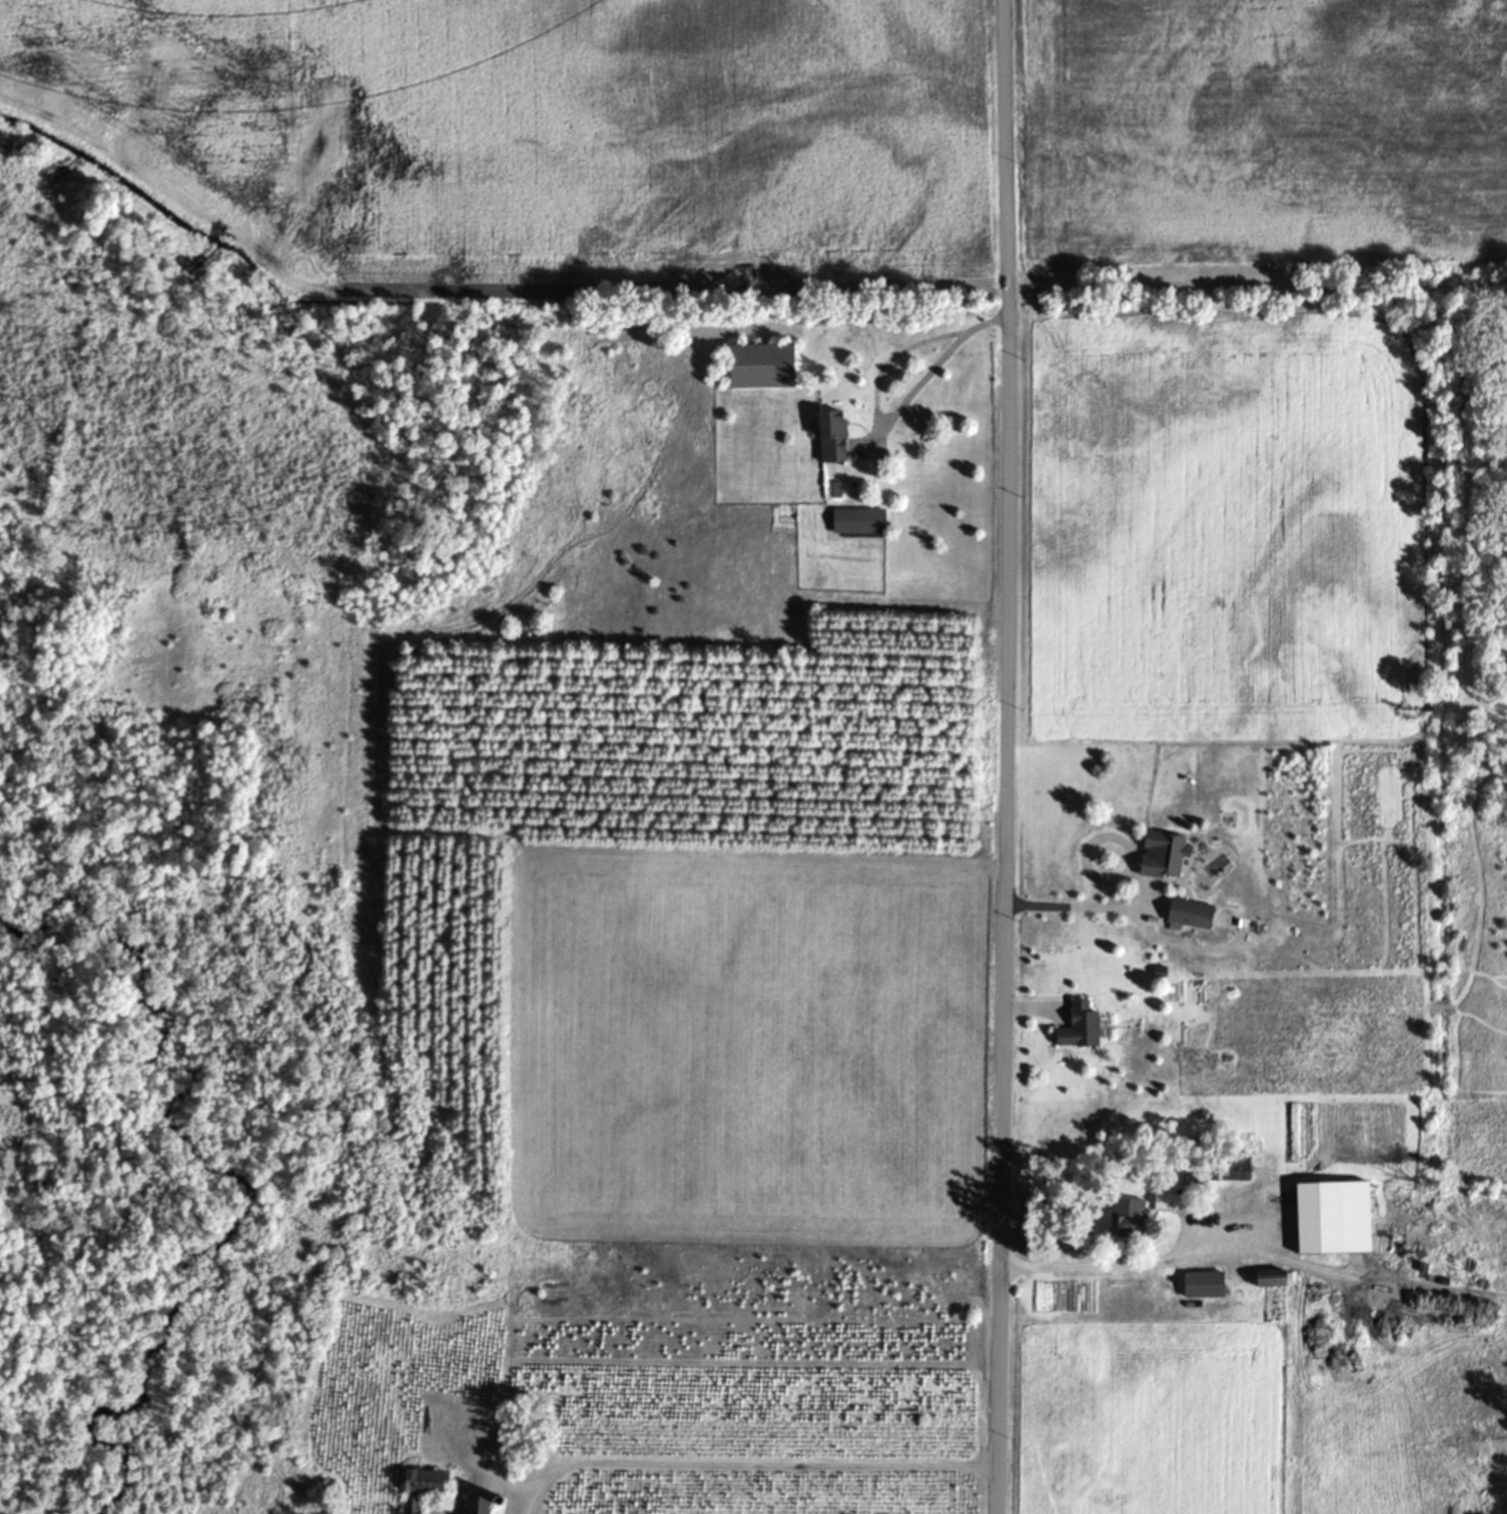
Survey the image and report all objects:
building: (762, 375)
road: (895, 412)
building: (832, 446)
building: (859, 530)
road: (1008, 756)
road: (1090, 845)
building: (1162, 864)
road: (1098, 889)
road: (1079, 902)
building: (1192, 924)
building: (1080, 1037)
building: (1125, 1233)
building: (1243, 1234)
road: (1103, 1263)
building: (1272, 1289)
building: (1204, 1295)
road: (754, 1455)
building: (422, 1493)

